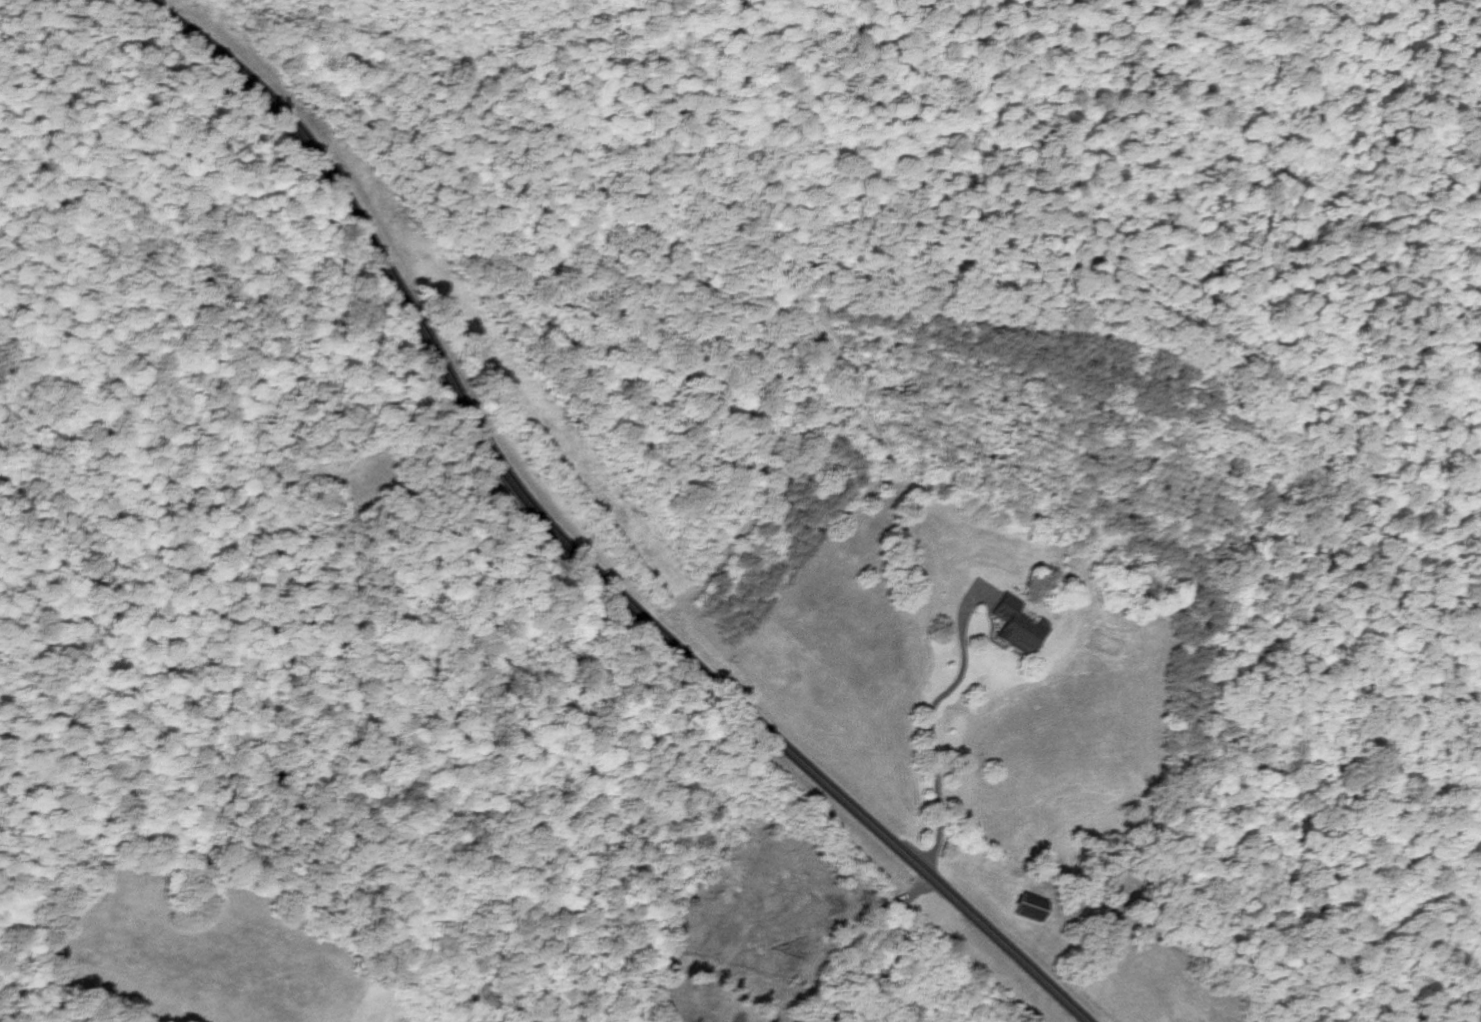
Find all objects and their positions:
road: (569, 545)
building: (1022, 634)
road: (952, 798)

